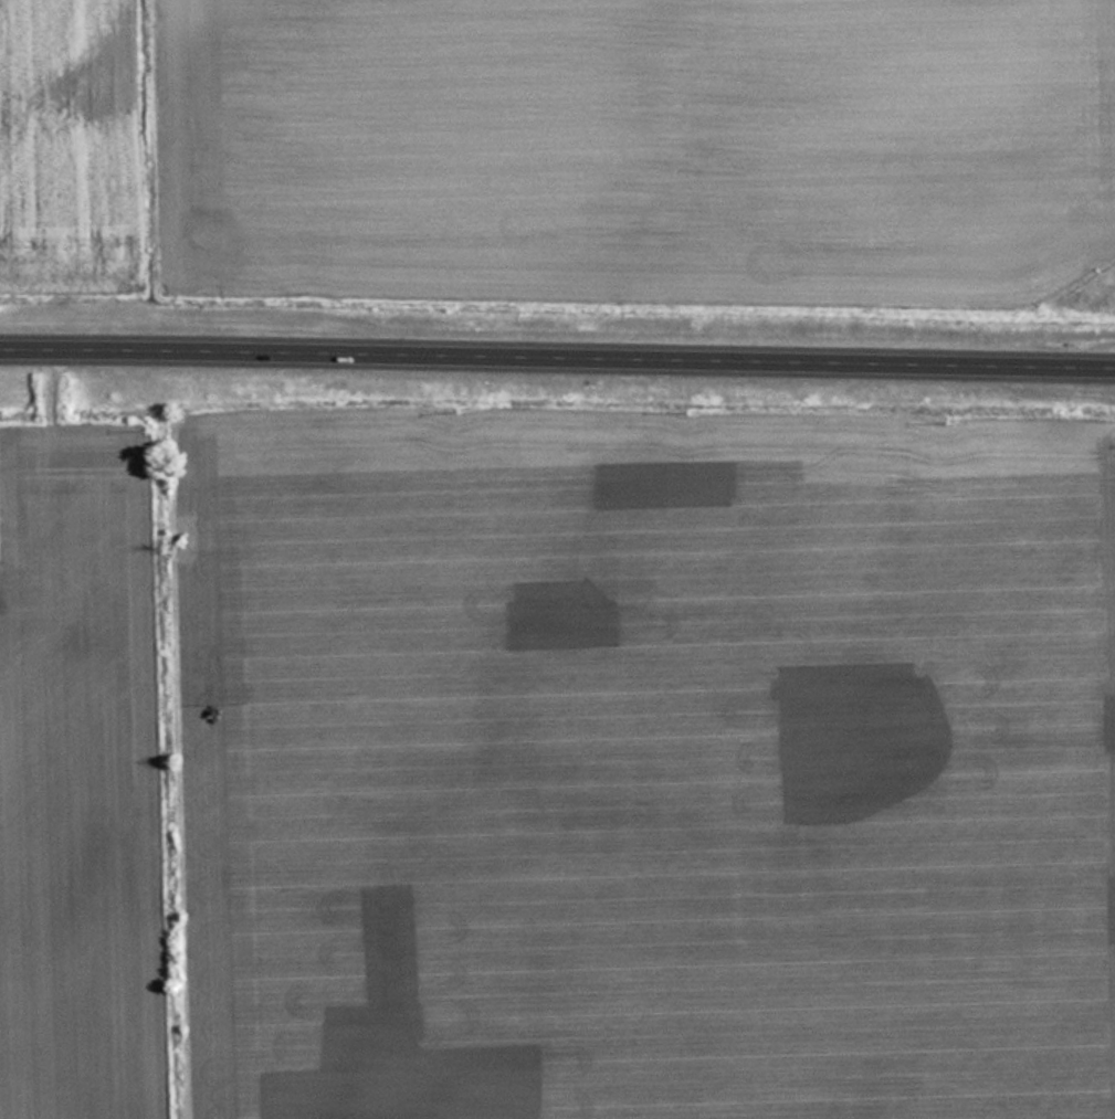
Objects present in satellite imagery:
road: (557, 356)

